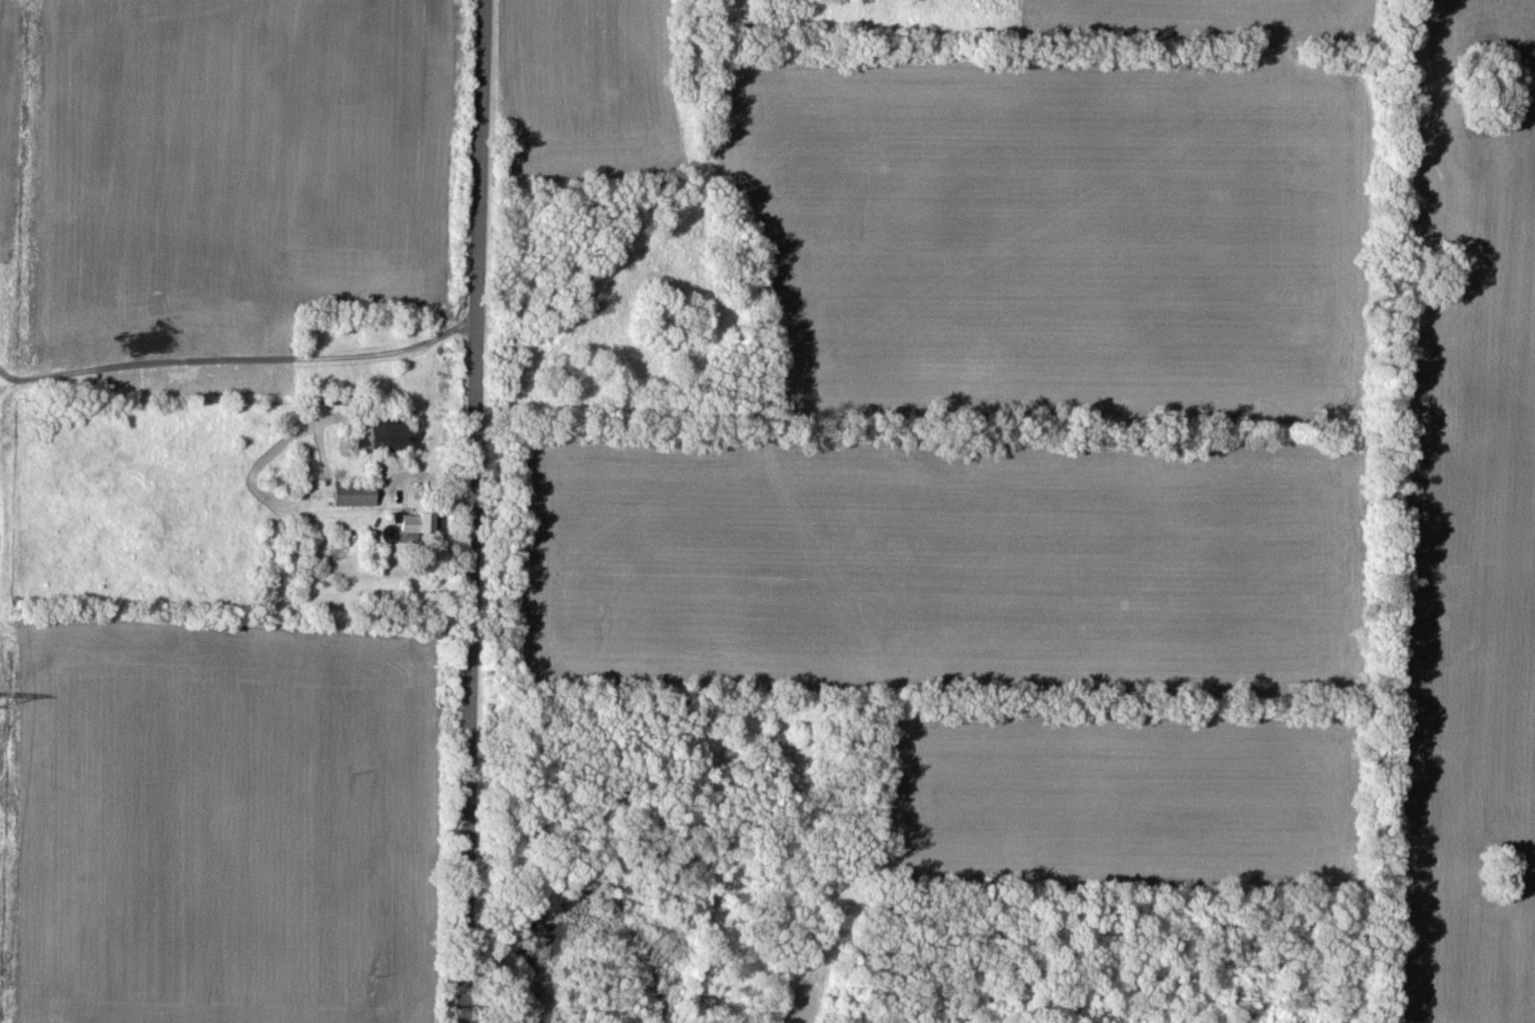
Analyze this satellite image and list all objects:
road: (241, 358)
building: (418, 424)
building: (383, 434)
building: (356, 493)
road: (475, 511)
building: (419, 520)
road: (308, 852)

